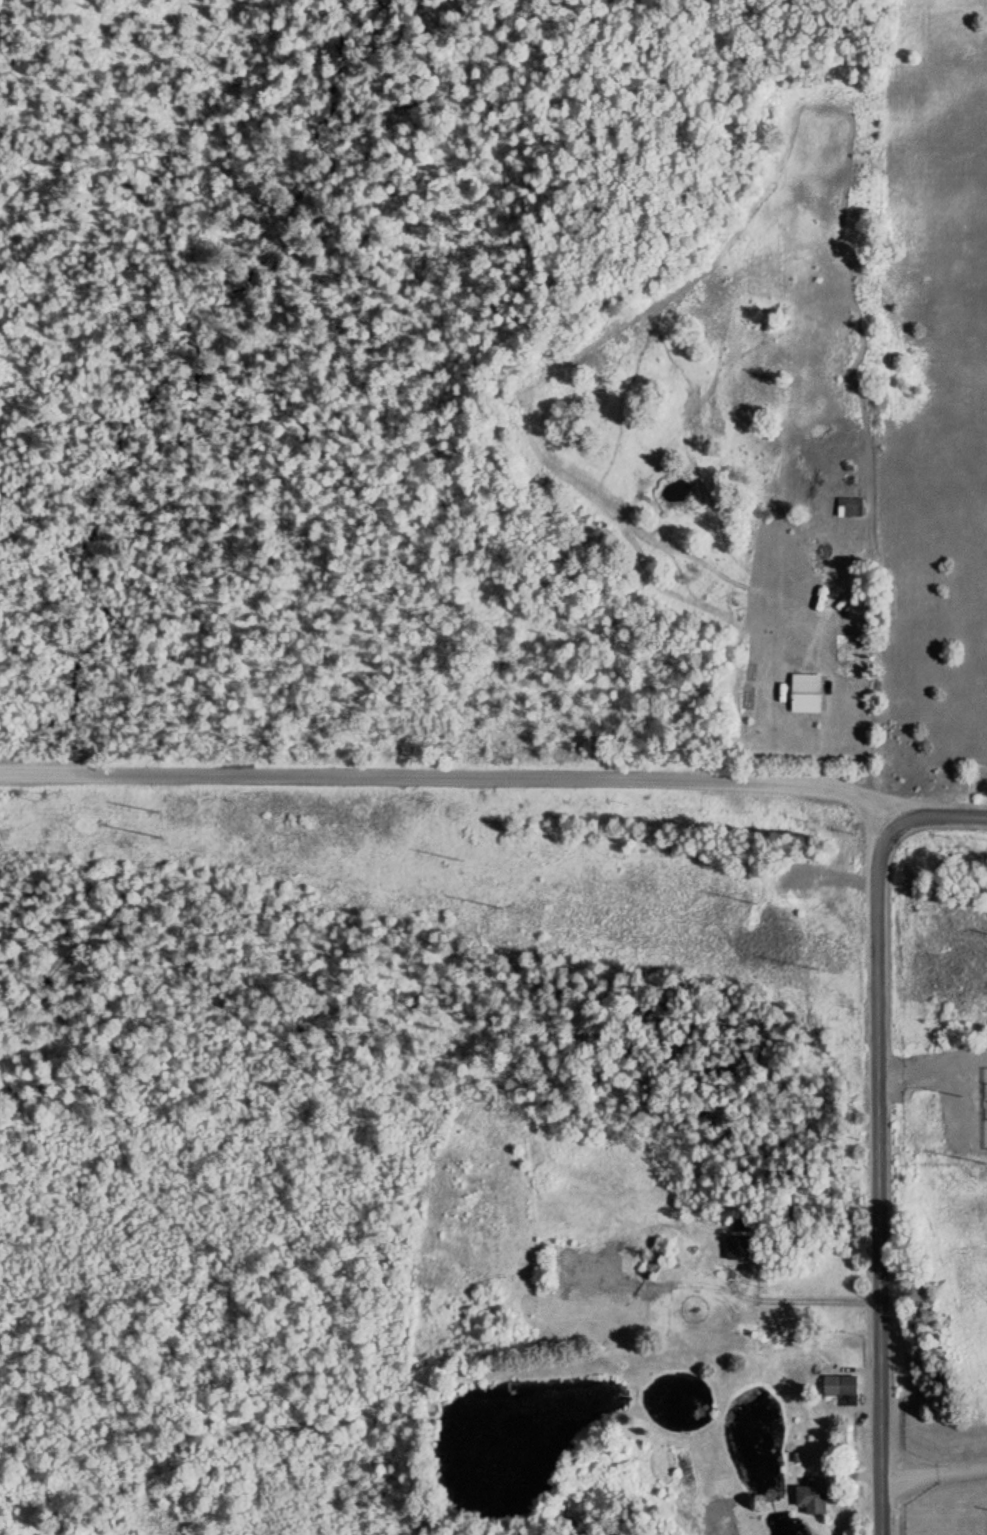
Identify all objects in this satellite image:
building: (853, 506)
building: (851, 644)
building: (811, 692)
road: (454, 777)
road: (940, 815)
road: (964, 1063)
road: (933, 1069)
road: (969, 1100)
power substation: (986, 1106)
road: (880, 1179)
building: (744, 1244)
building: (846, 1385)
road: (963, 1468)
road: (911, 1476)
building: (818, 1497)
building: (727, 1518)

